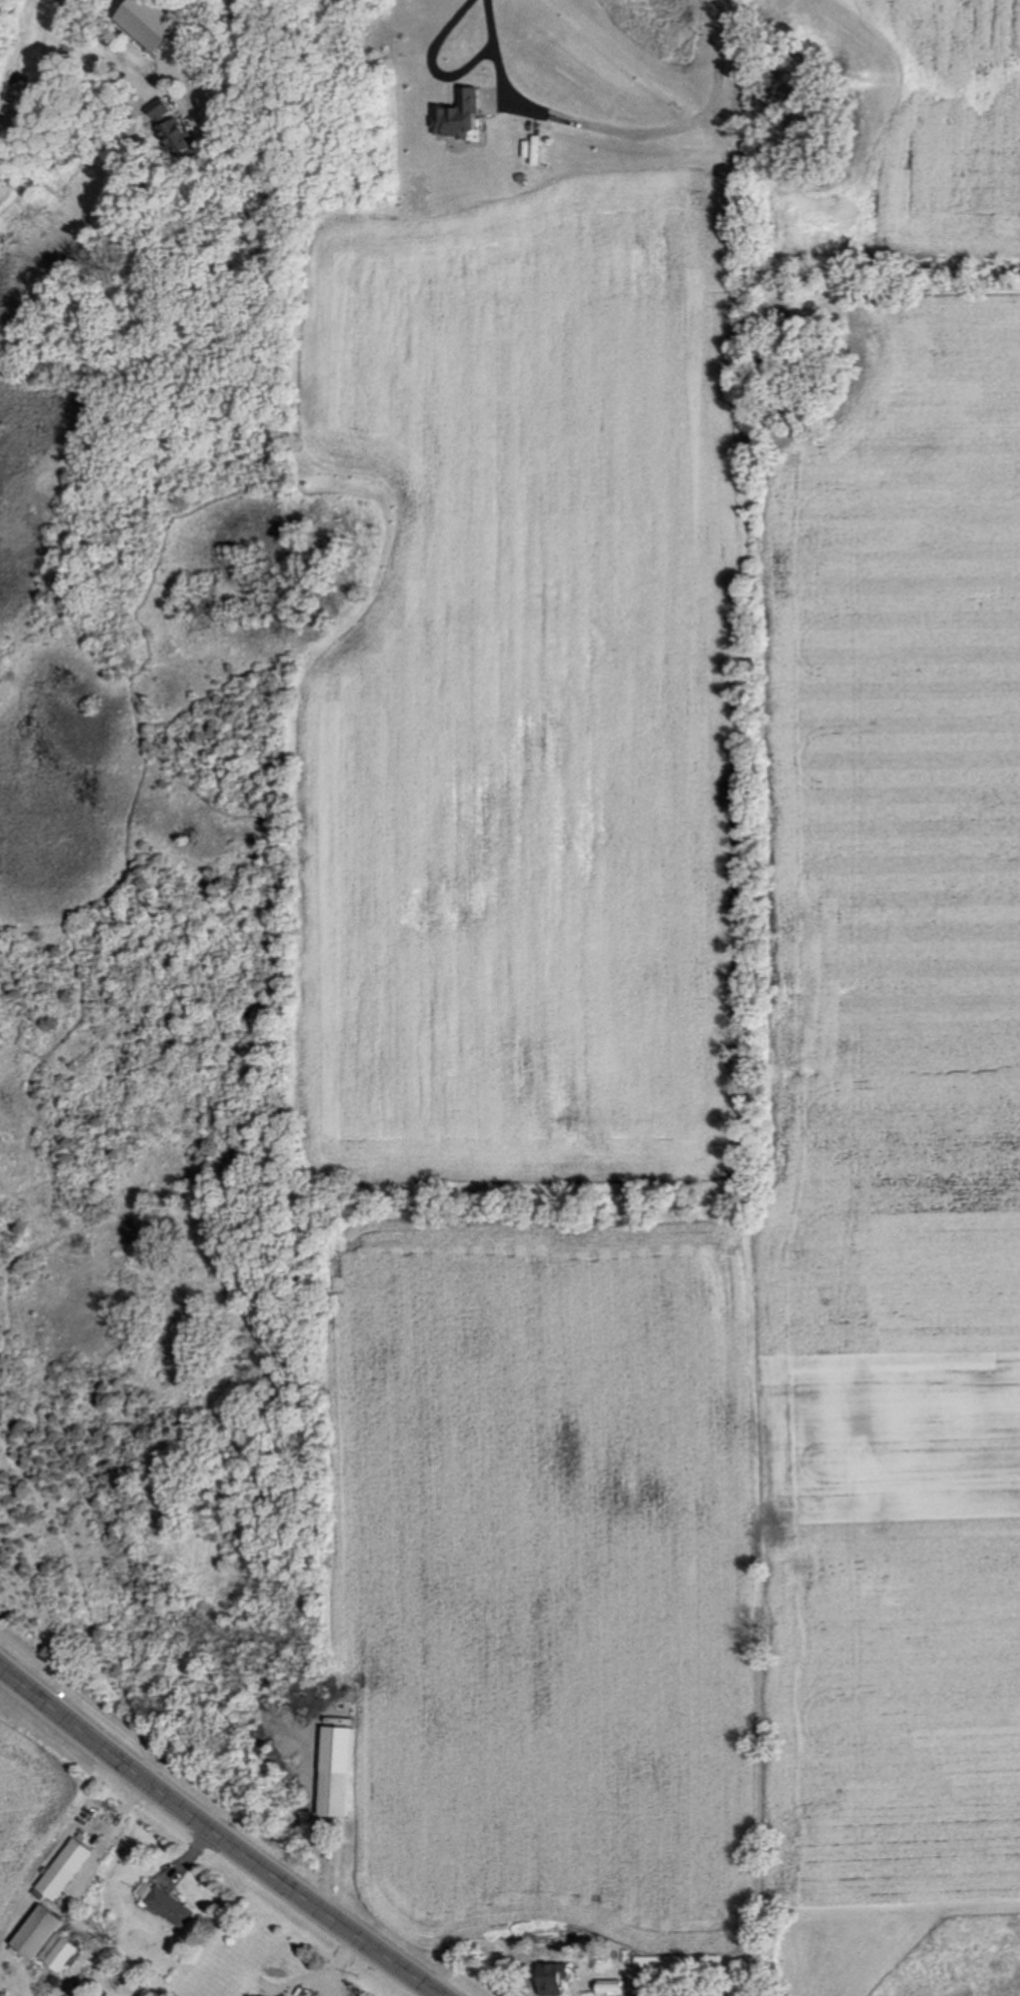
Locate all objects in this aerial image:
building: (48, 23)
road: (220, 56)
road: (433, 64)
building: (464, 117)
road: (616, 131)
building: (178, 134)
building: (336, 1795)
road: (216, 1835)
road: (96, 1859)
building: (68, 1870)
building: (168, 1906)
building: (50, 1941)
road: (335, 1964)
building: (558, 1981)

